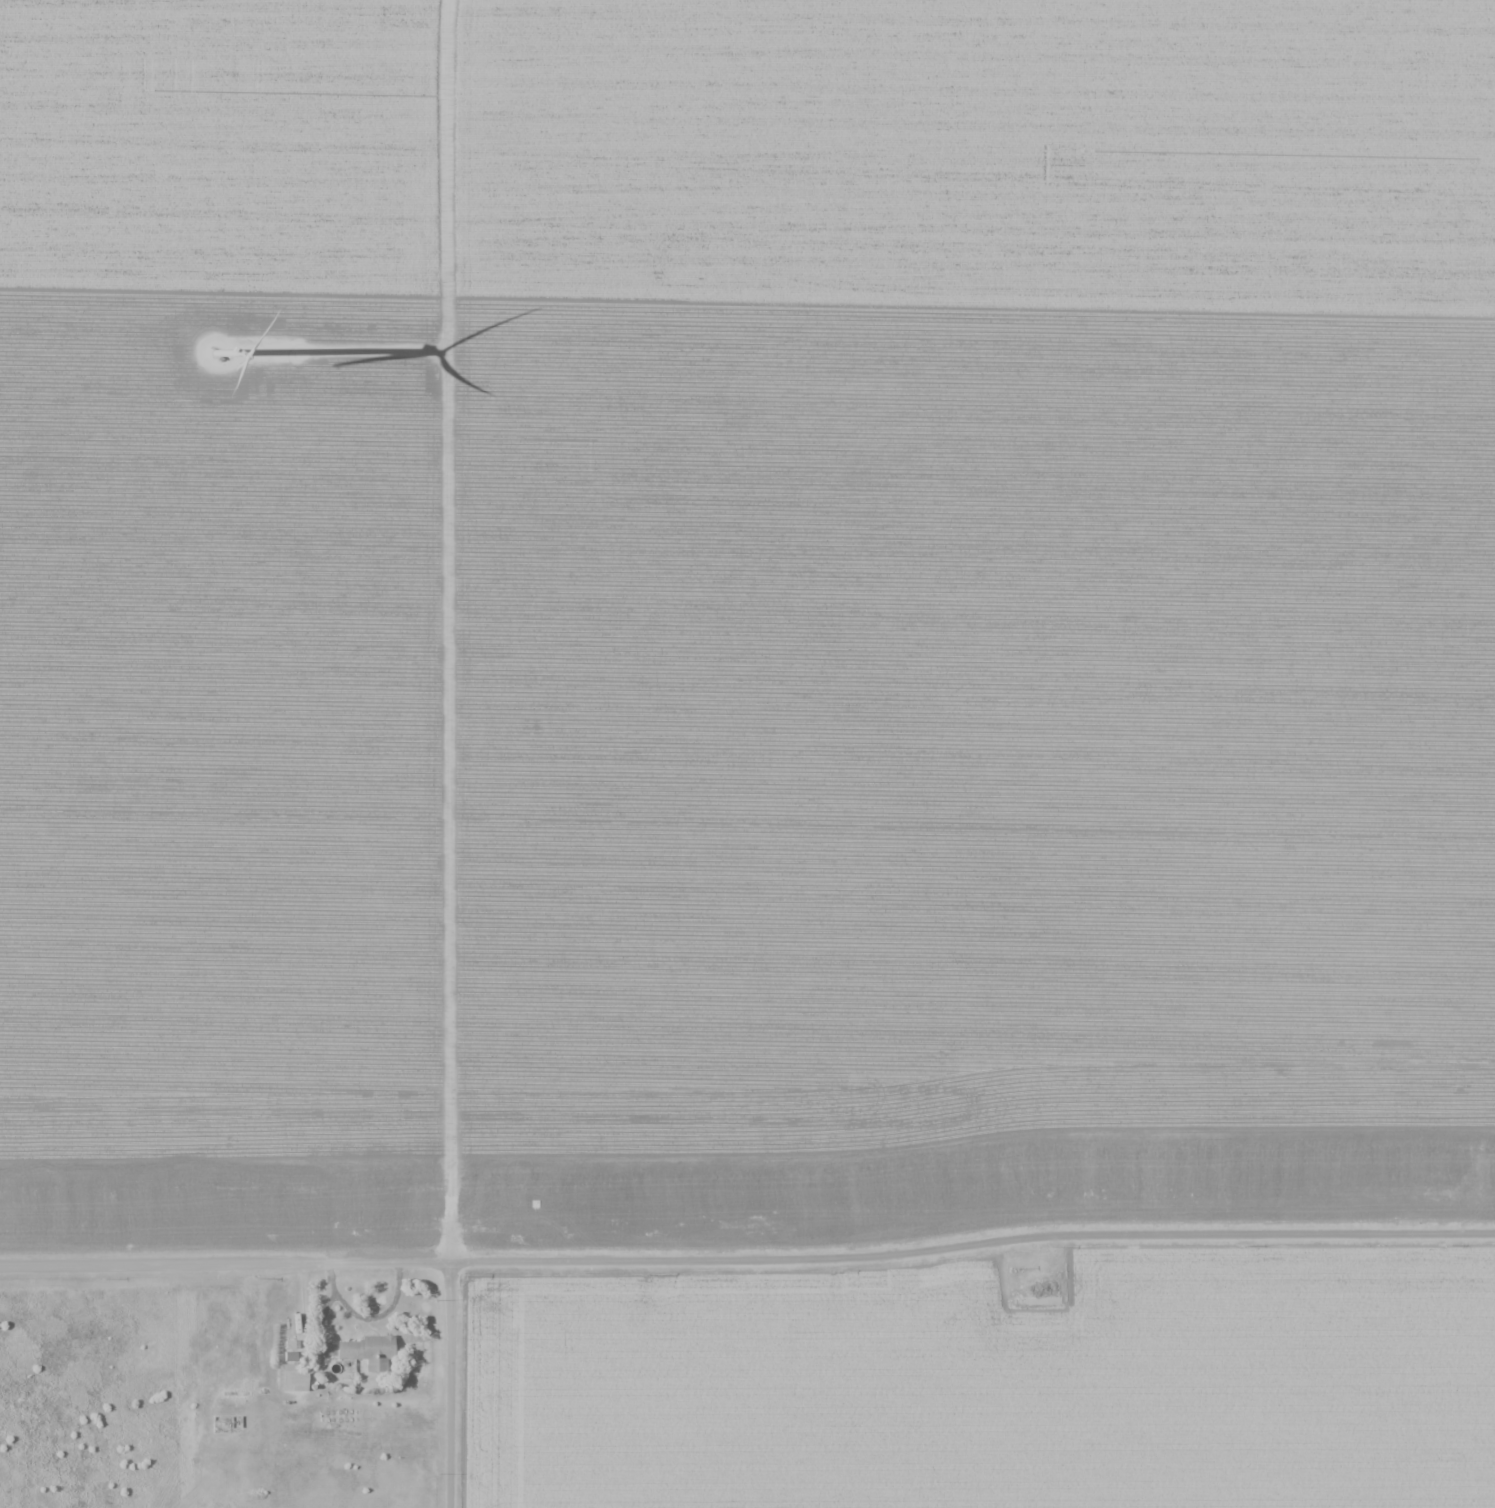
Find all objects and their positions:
wind turbine: (233, 353)
road: (748, 1263)
building: (1037, 1288)
building: (366, 1351)
building: (291, 1377)
road: (447, 1386)

